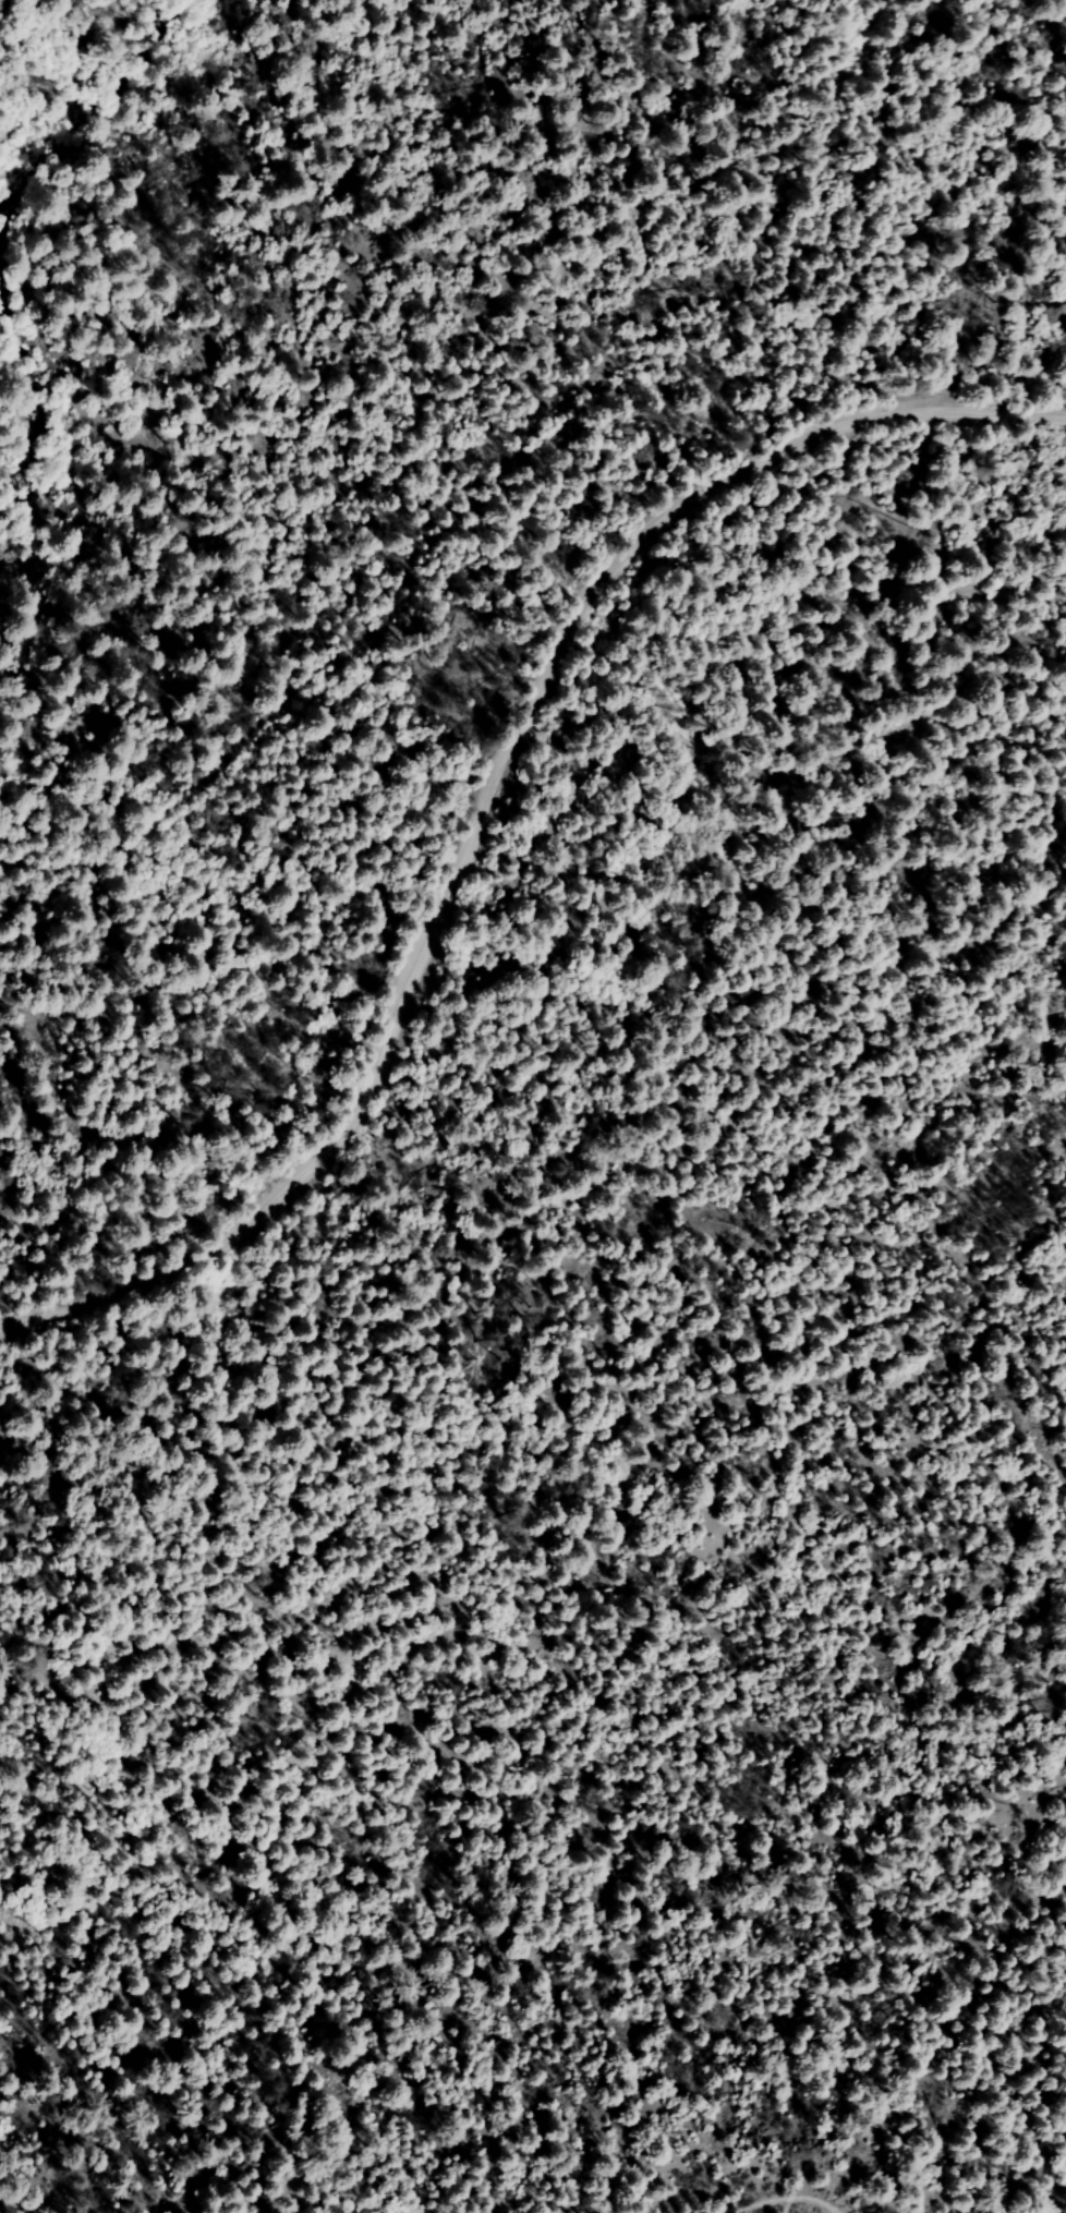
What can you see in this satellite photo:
road: (494, 814)

